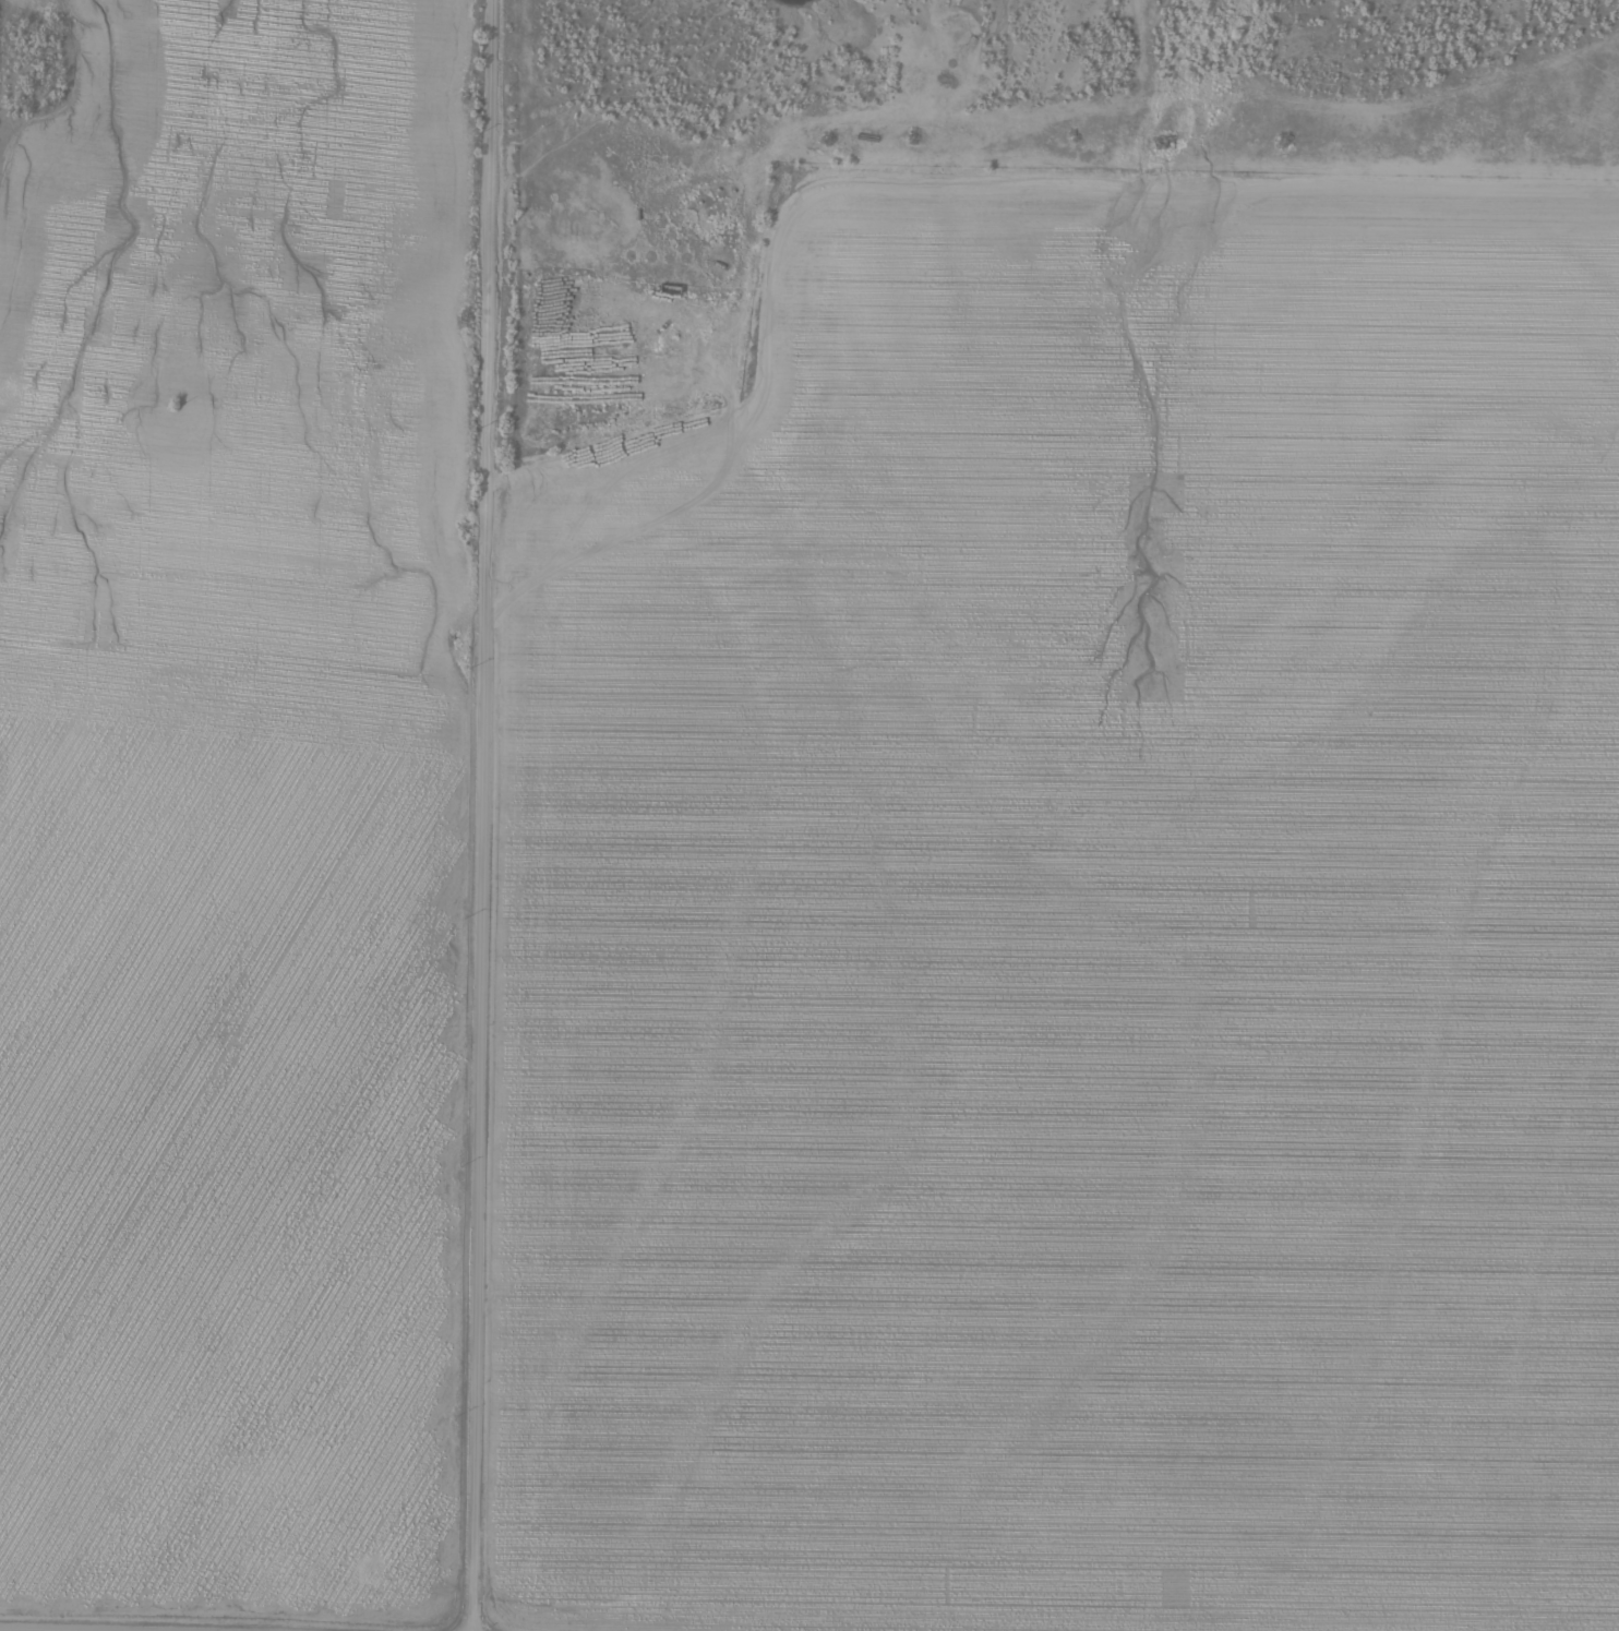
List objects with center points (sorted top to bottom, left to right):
road: (445, 815)

